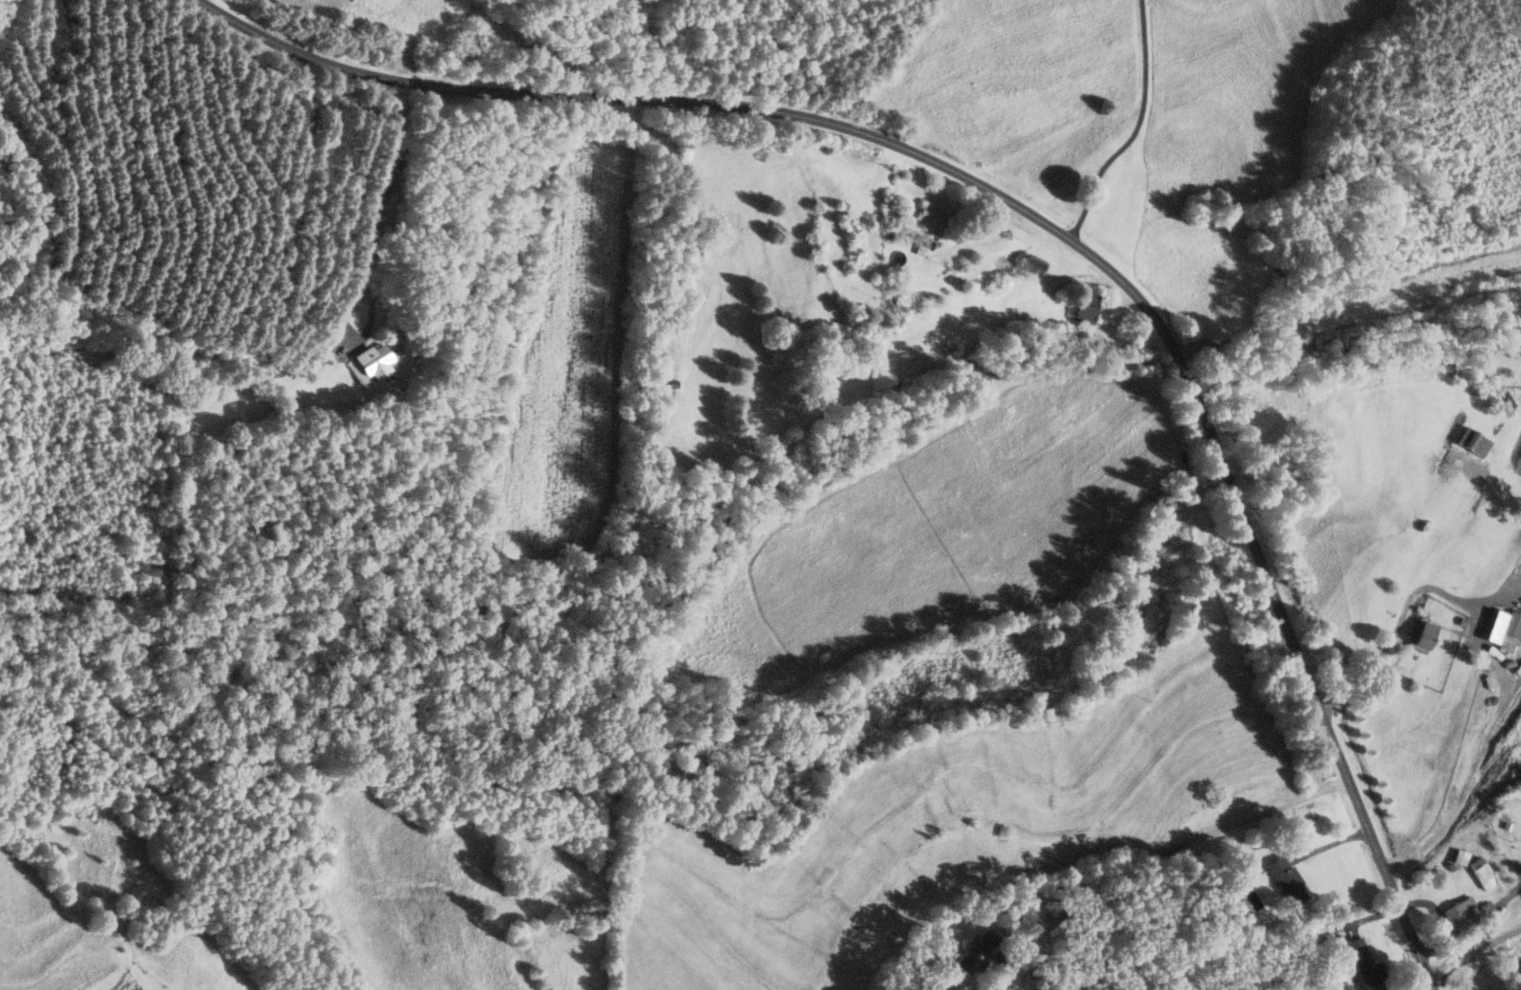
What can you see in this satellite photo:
road: (1136, 129)
building: (934, 215)
road: (1033, 215)
road: (375, 218)
building: (1034, 263)
building: (1086, 305)
building: (375, 363)
building: (1176, 582)
road: (1492, 603)
building: (1496, 625)
building: (1424, 633)
road: (1393, 640)
road: (1462, 787)
road: (1175, 846)
building: (1480, 869)
building: (1288, 879)
road: (1430, 904)
building: (1461, 912)
road: (1469, 919)
building: (980, 949)
road: (1474, 950)
building: (1369, 968)
road: (1432, 981)
road: (991, 989)

